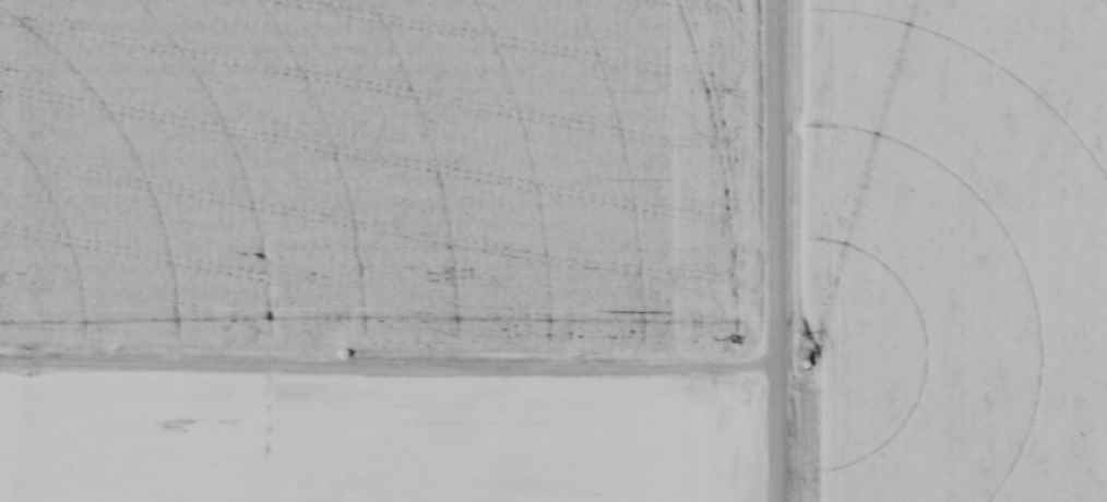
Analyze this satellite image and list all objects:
road: (777, 250)
road: (389, 364)

